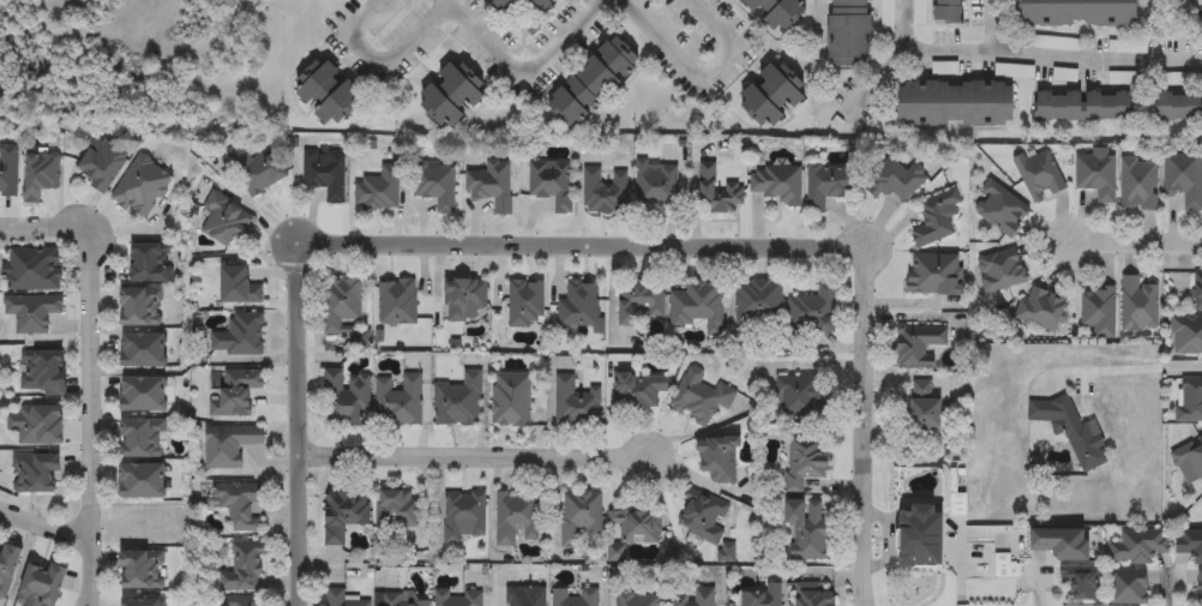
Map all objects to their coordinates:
building: (545, 1)
building: (507, 5)
building: (949, 11)
building: (1082, 12)
building: (779, 13)
building: (888, 16)
building: (849, 32)
road: (571, 35)
road: (493, 40)
road: (1035, 50)
road: (389, 71)
road: (704, 73)
road: (882, 78)
building: (594, 82)
building: (330, 94)
building: (450, 95)
building: (770, 97)
building: (957, 103)
building: (1180, 106)
building: (1087, 107)
building: (103, 164)
building: (258, 169)
building: (8, 170)
building: (325, 174)
building: (41, 175)
building: (1041, 175)
building: (1098, 175)
building: (1185, 178)
building: (896, 180)
building: (552, 184)
building: (655, 184)
building: (777, 184)
building: (830, 184)
building: (1140, 185)
building: (434, 186)
building: (492, 186)
building: (142, 187)
building: (377, 191)
building: (605, 192)
building: (719, 192)
building: (1002, 210)
building: (937, 218)
building: (224, 221)
road: (43, 227)
road: (1136, 242)
road: (758, 245)
building: (151, 263)
building: (35, 270)
building: (1000, 271)
building: (936, 275)
building: (240, 287)
building: (1197, 293)
building: (464, 299)
building: (639, 301)
building: (397, 302)
building: (339, 305)
building: (525, 305)
building: (578, 305)
building: (758, 306)
building: (1138, 306)
building: (143, 307)
building: (697, 308)
building: (1042, 311)
building: (811, 312)
building: (1099, 312)
building: (32, 313)
building: (240, 336)
building: (1186, 336)
building: (919, 347)
building: (145, 350)
road: (1130, 370)
building: (44, 372)
building: (639, 390)
building: (236, 394)
building: (145, 395)
building: (701, 397)
building: (798, 397)
building: (344, 400)
building: (1189, 400)
building: (398, 402)
building: (458, 402)
building: (511, 403)
building: (576, 403)
building: (926, 404)
road: (88, 416)
road: (300, 425)
building: (41, 426)
building: (1072, 431)
building: (145, 438)
building: (230, 445)
road: (477, 454)
building: (1189, 458)
building: (719, 460)
building: (805, 463)
building: (36, 474)
building: (143, 481)
building: (240, 505)
building: (399, 510)
building: (343, 516)
building: (465, 516)
building: (517, 518)
building: (581, 520)
road: (42, 523)
building: (708, 523)
building: (635, 526)
building: (806, 528)
building: (924, 535)
building: (1064, 542)
building: (1190, 544)
building: (1138, 545)
building: (8, 566)
building: (244, 568)
building: (144, 570)
building: (1082, 581)
building: (42, 586)
building: (1129, 587)
building: (1200, 588)
road: (1038, 592)
building: (812, 595)
road: (1179, 595)
building: (527, 596)
building: (761, 596)
building: (457, 598)
building: (573, 598)
building: (696, 598)
building: (343, 599)
building: (637, 599)
building: (402, 600)
building: (241, 601)
building: (143, 602)

